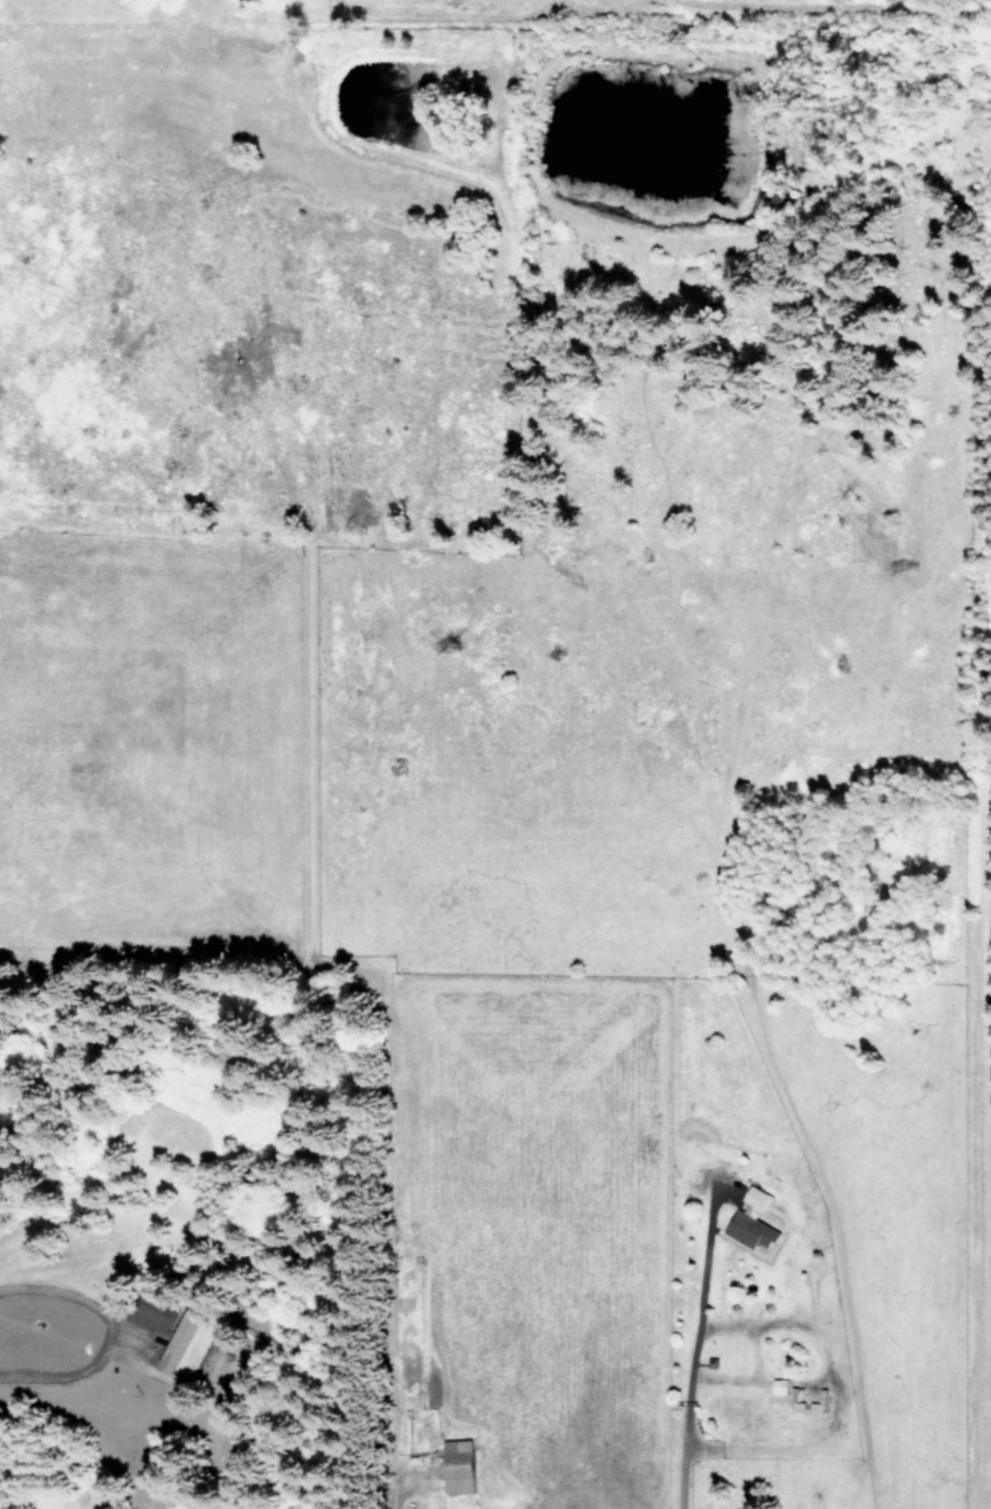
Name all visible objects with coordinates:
crop: (139, 758)
building: (751, 1219)
building: (160, 1315)
road: (812, 1332)
building: (187, 1344)
road: (754, 1355)
road: (687, 1361)
building: (779, 1385)
road: (788, 1449)
building: (457, 1465)

